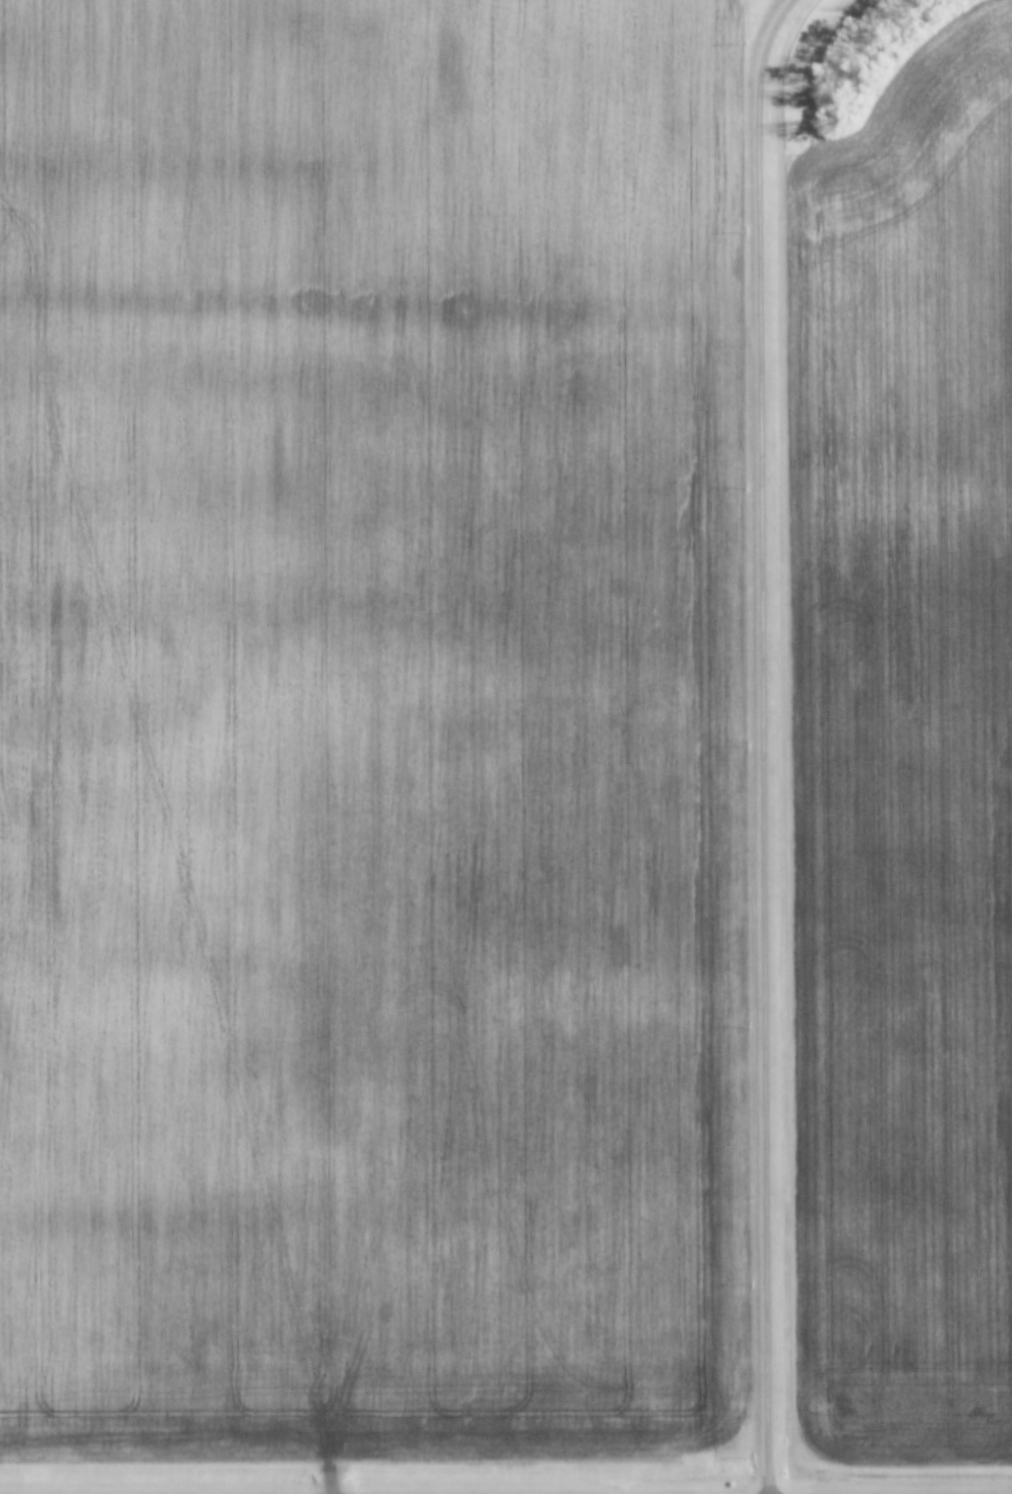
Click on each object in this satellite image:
road: (766, 742)

